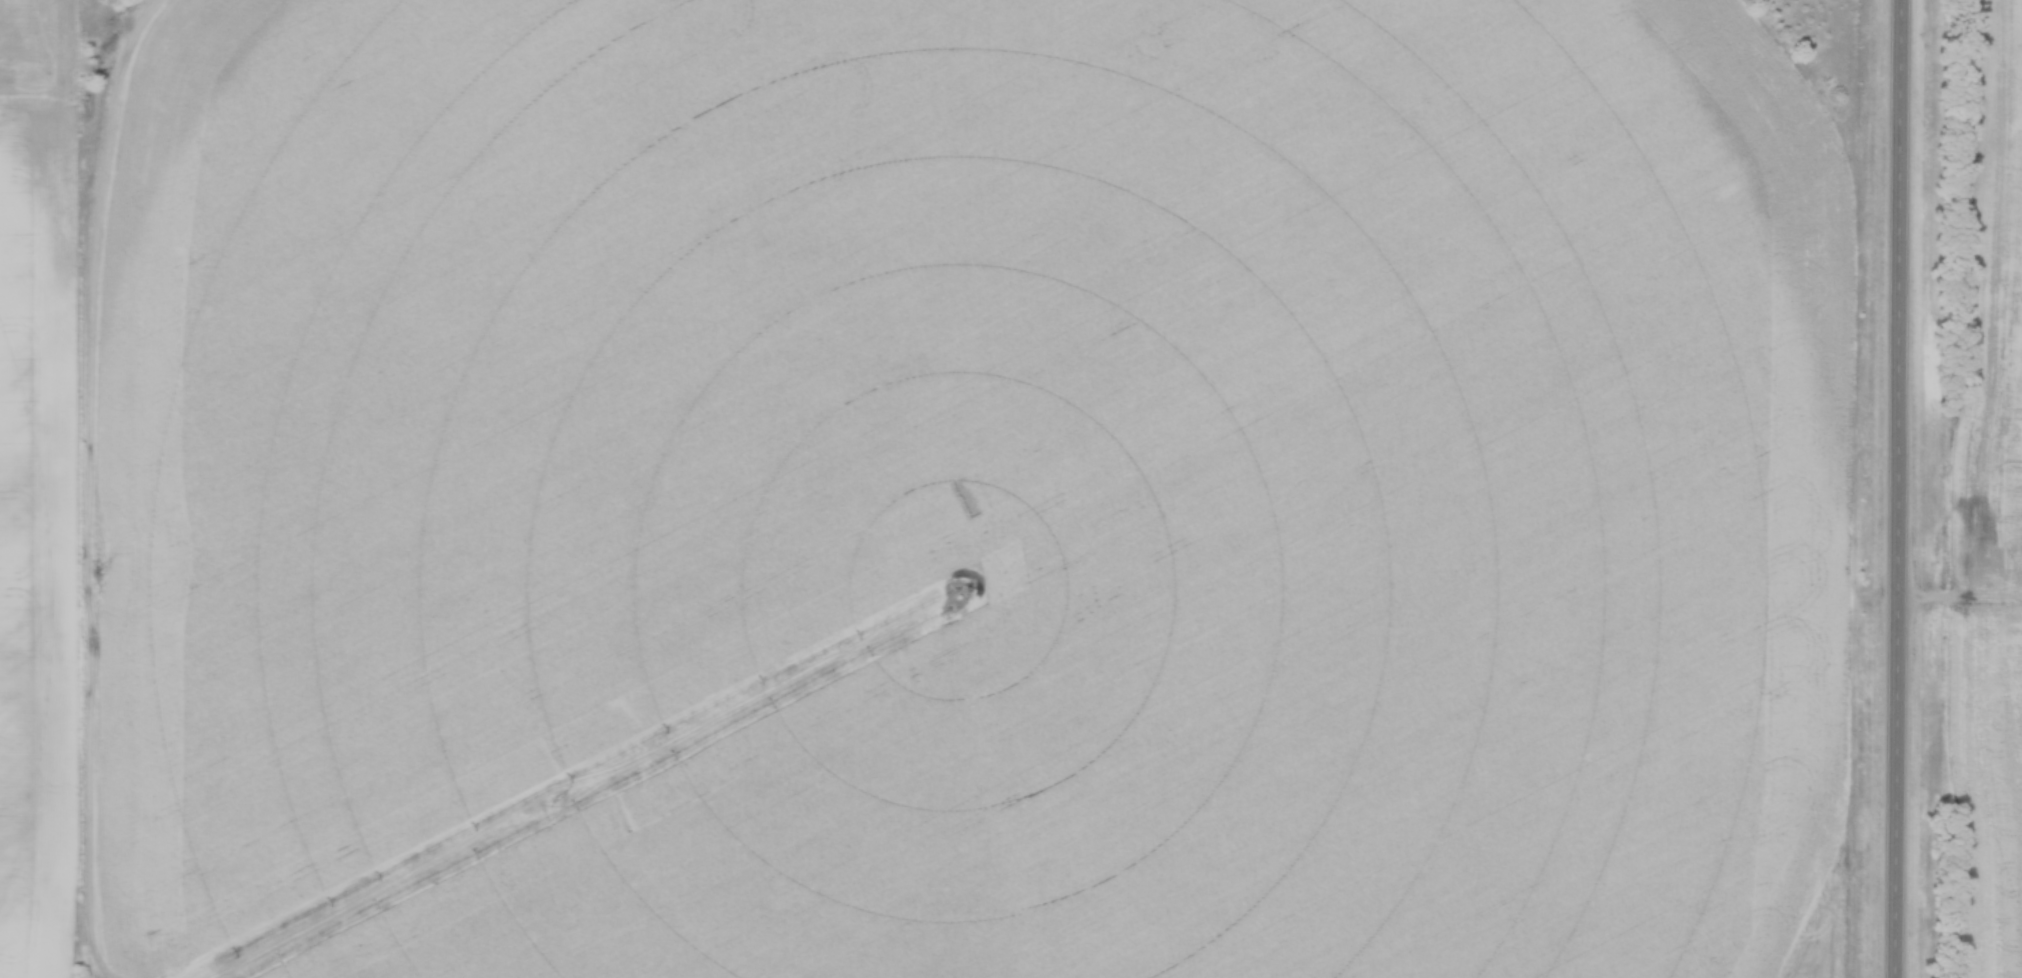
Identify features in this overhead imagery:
road: (1897, 488)

